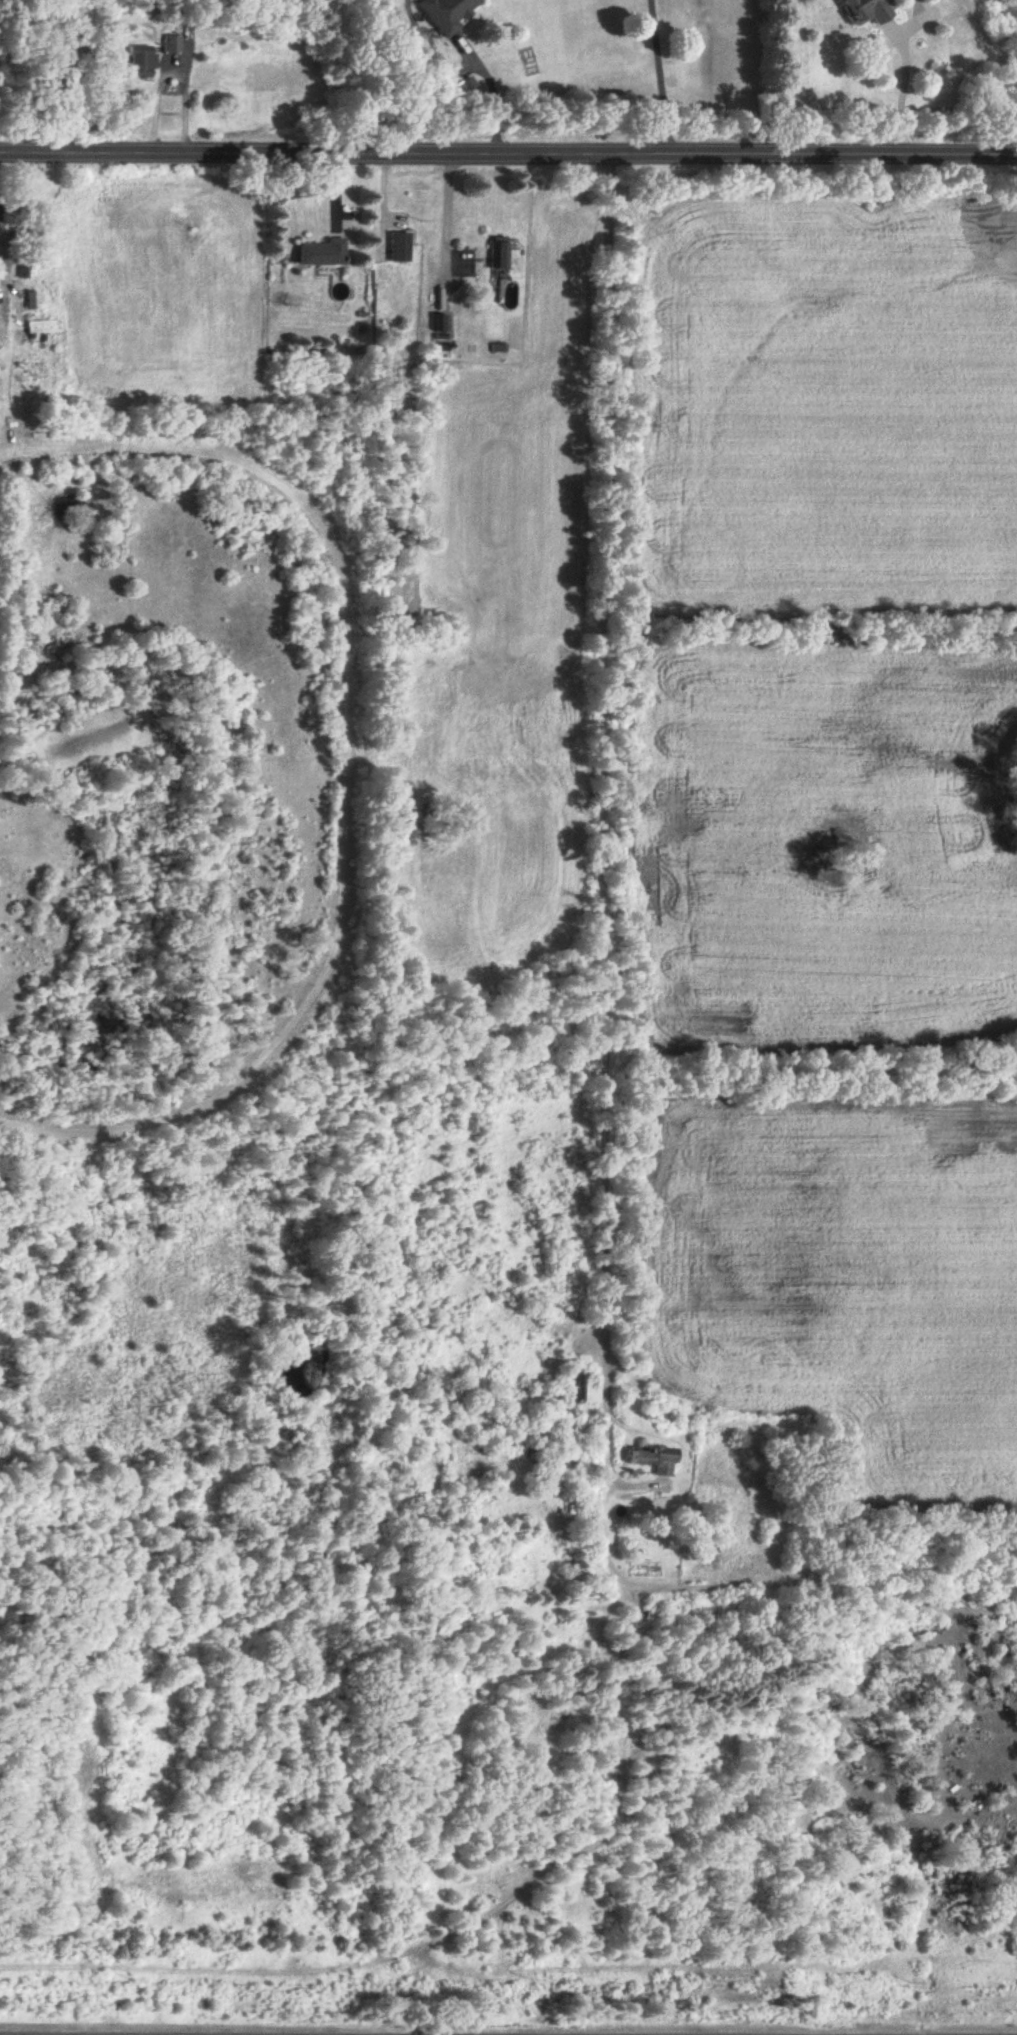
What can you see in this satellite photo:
building: (863, 11)
building: (444, 13)
building: (169, 44)
building: (60, 54)
building: (138, 62)
road: (170, 66)
road: (661, 76)
road: (902, 90)
road: (492, 92)
road: (508, 153)
road: (446, 216)
building: (396, 246)
building: (318, 252)
building: (500, 252)
building: (38, 321)
road: (3, 348)
road: (347, 770)
road: (599, 844)
building: (581, 1390)
building: (649, 1459)
building: (535, 1462)

